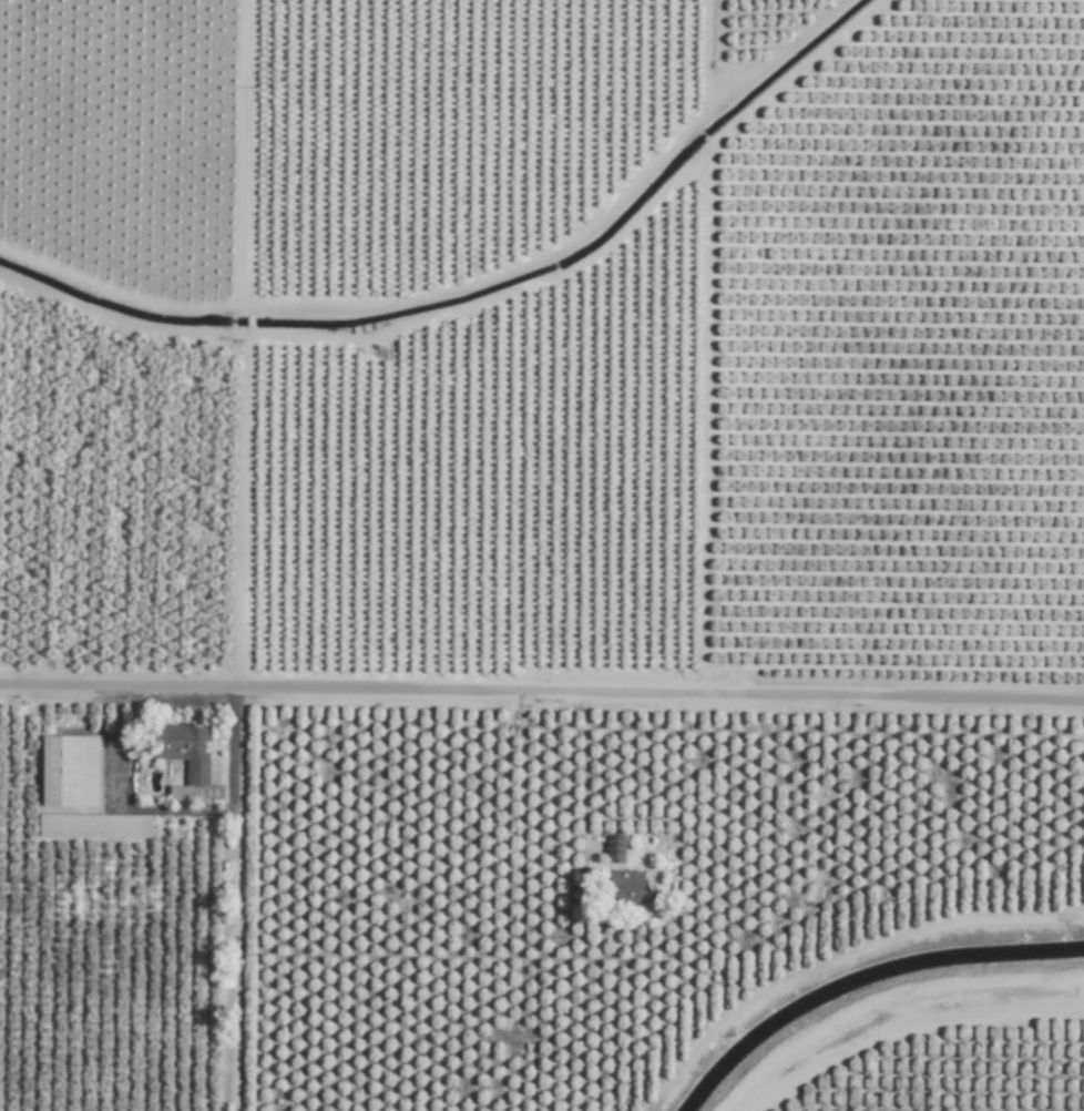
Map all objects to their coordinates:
road: (541, 691)
building: (186, 758)
road: (584, 765)
building: (69, 771)
building: (94, 825)
building: (625, 886)
road: (907, 1027)

